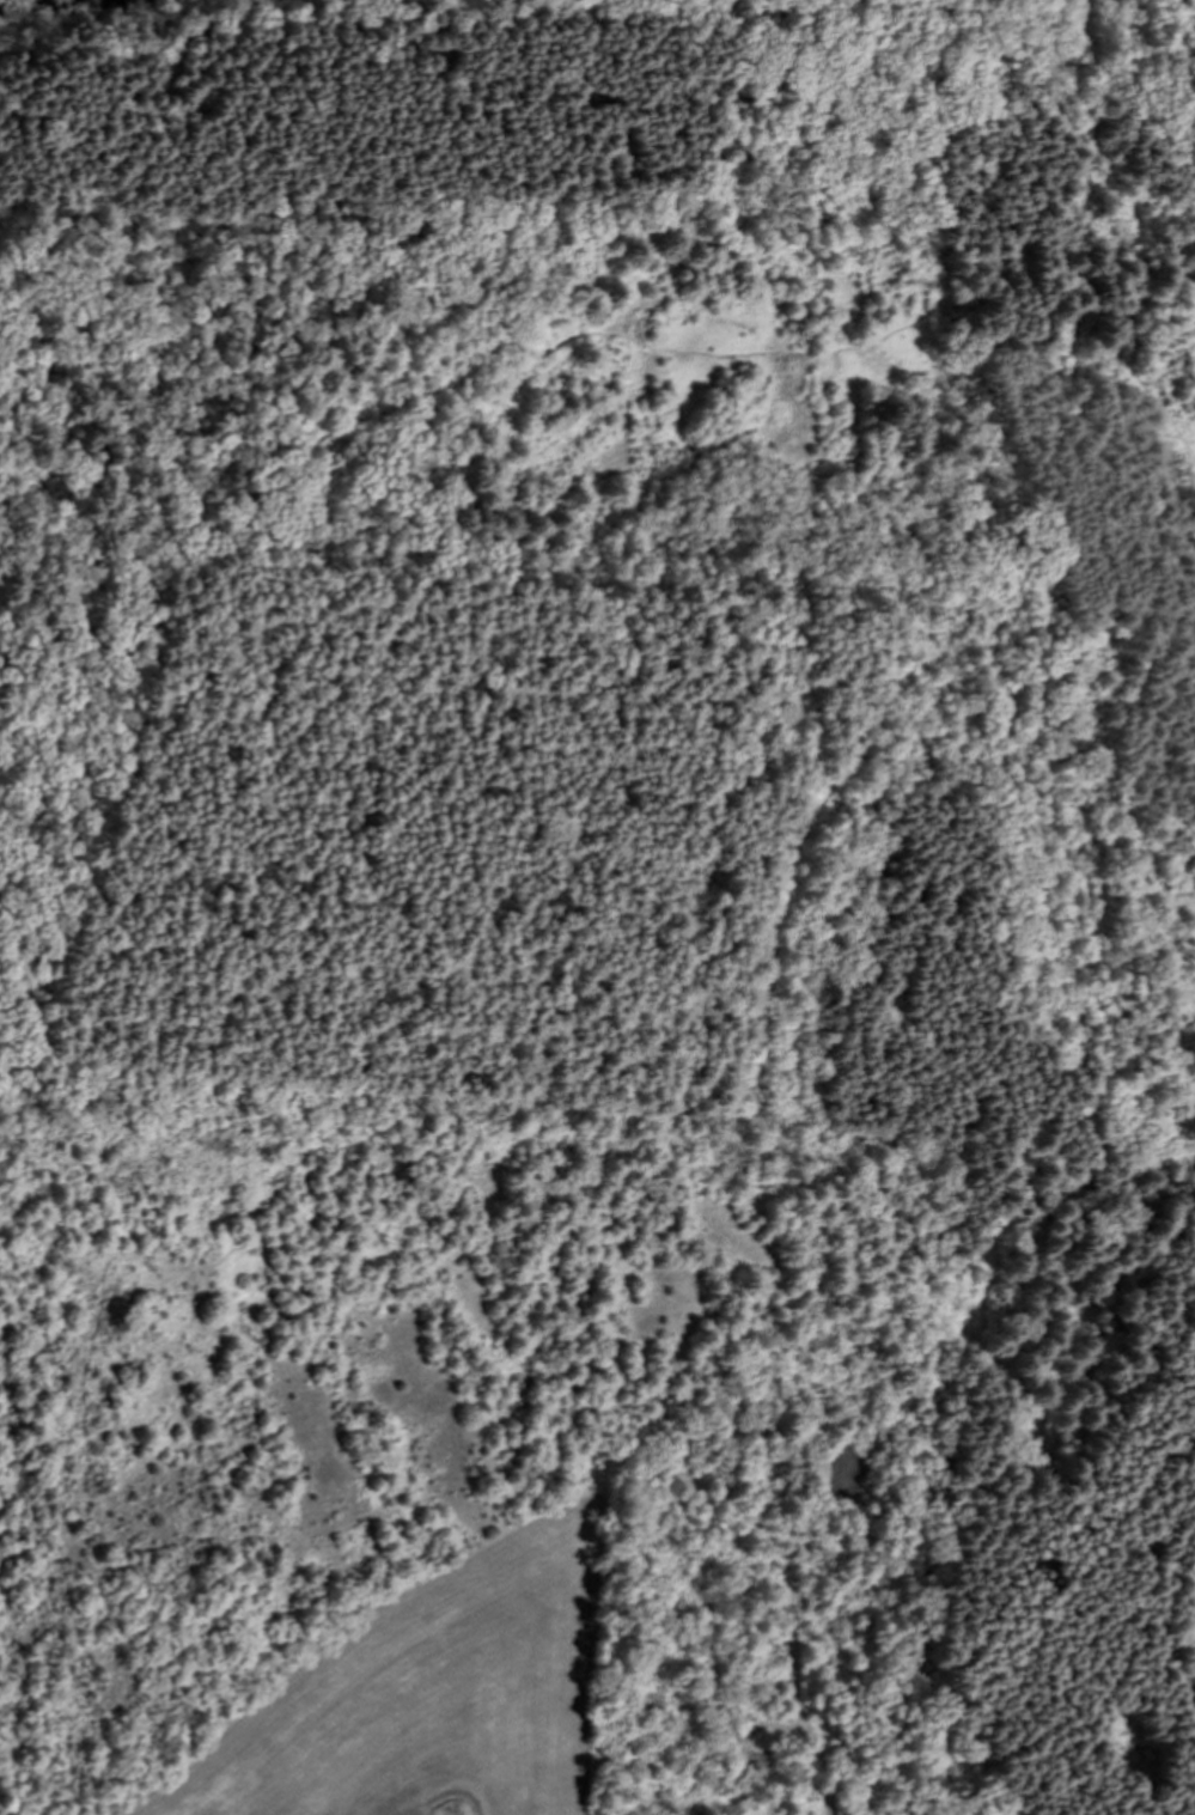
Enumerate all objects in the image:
river: (49, 6)
road: (348, 212)
road: (1146, 232)
road: (916, 317)
road: (236, 467)
road: (573, 567)
road: (714, 1241)
road: (59, 1525)

